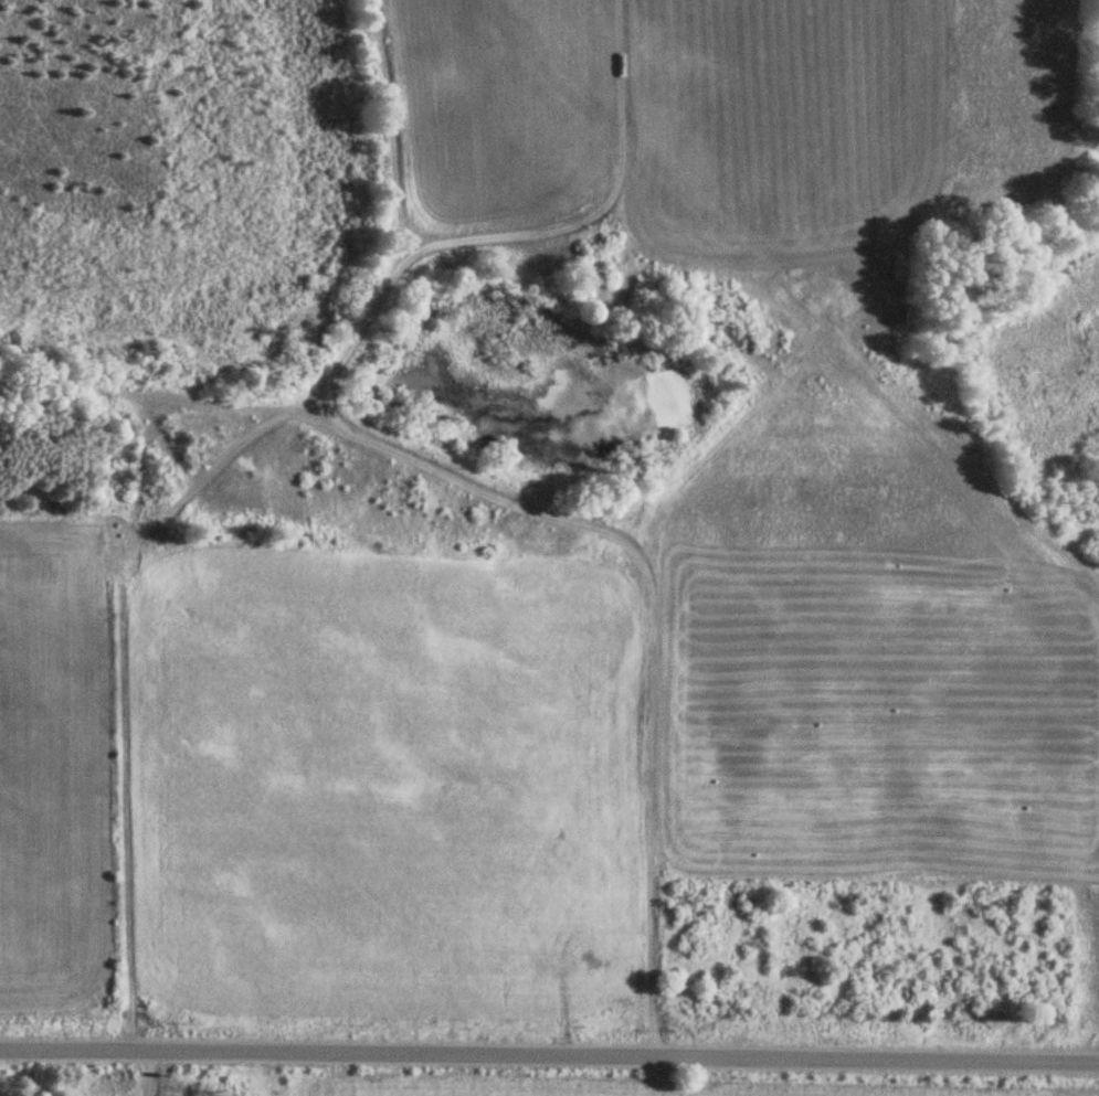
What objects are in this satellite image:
road: (504, 488)
road: (549, 1055)

